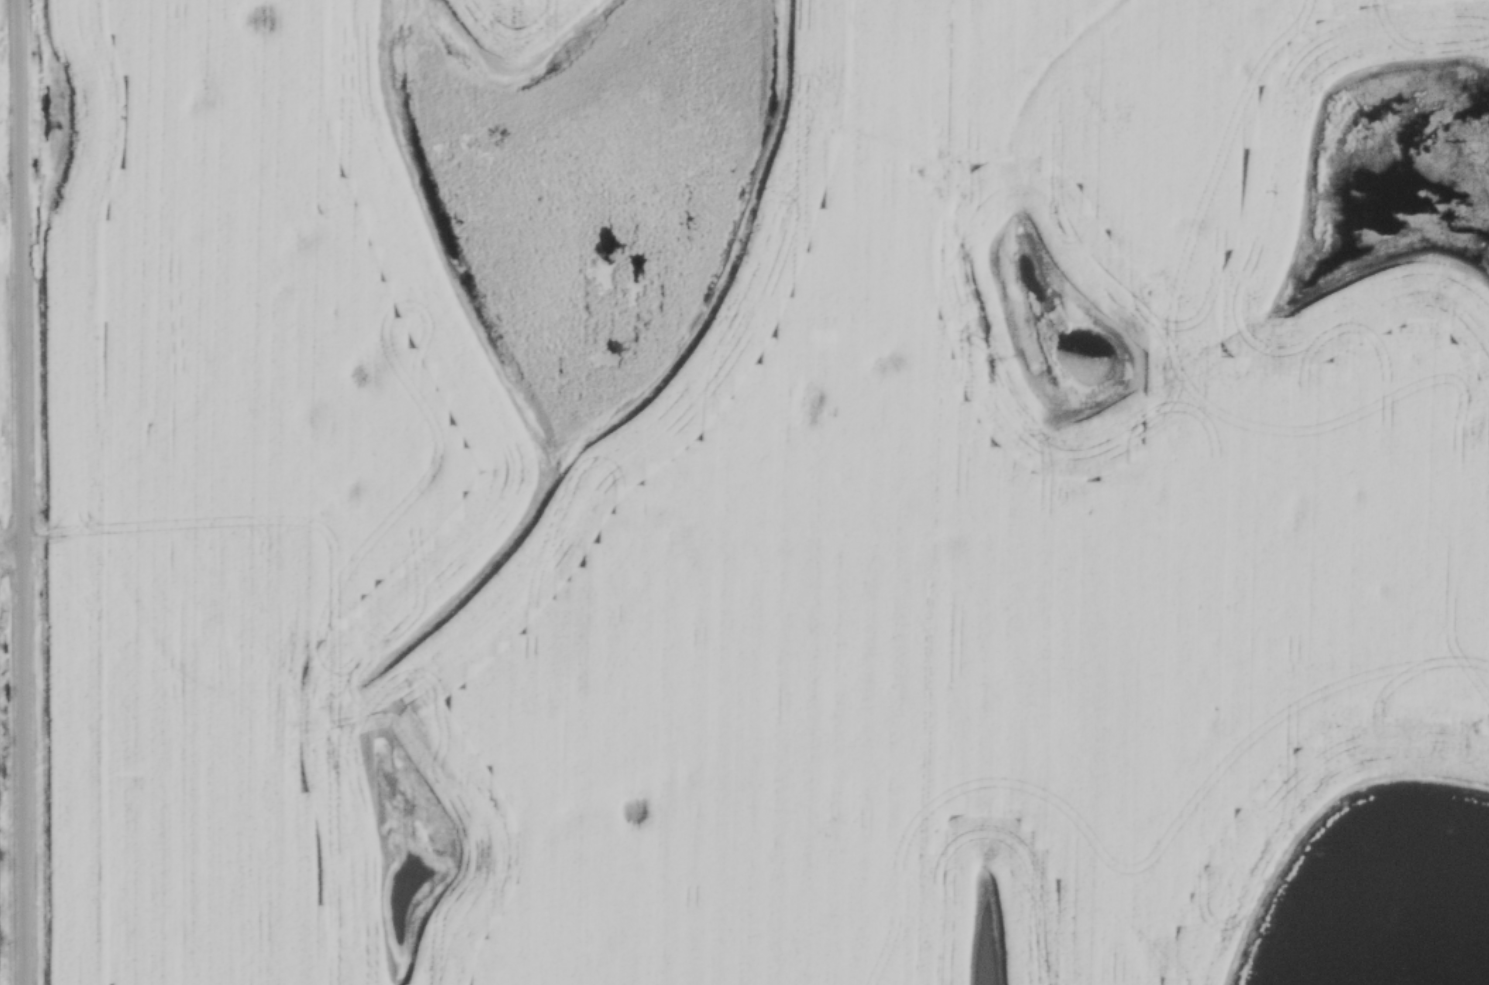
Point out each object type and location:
road: (16, 492)

